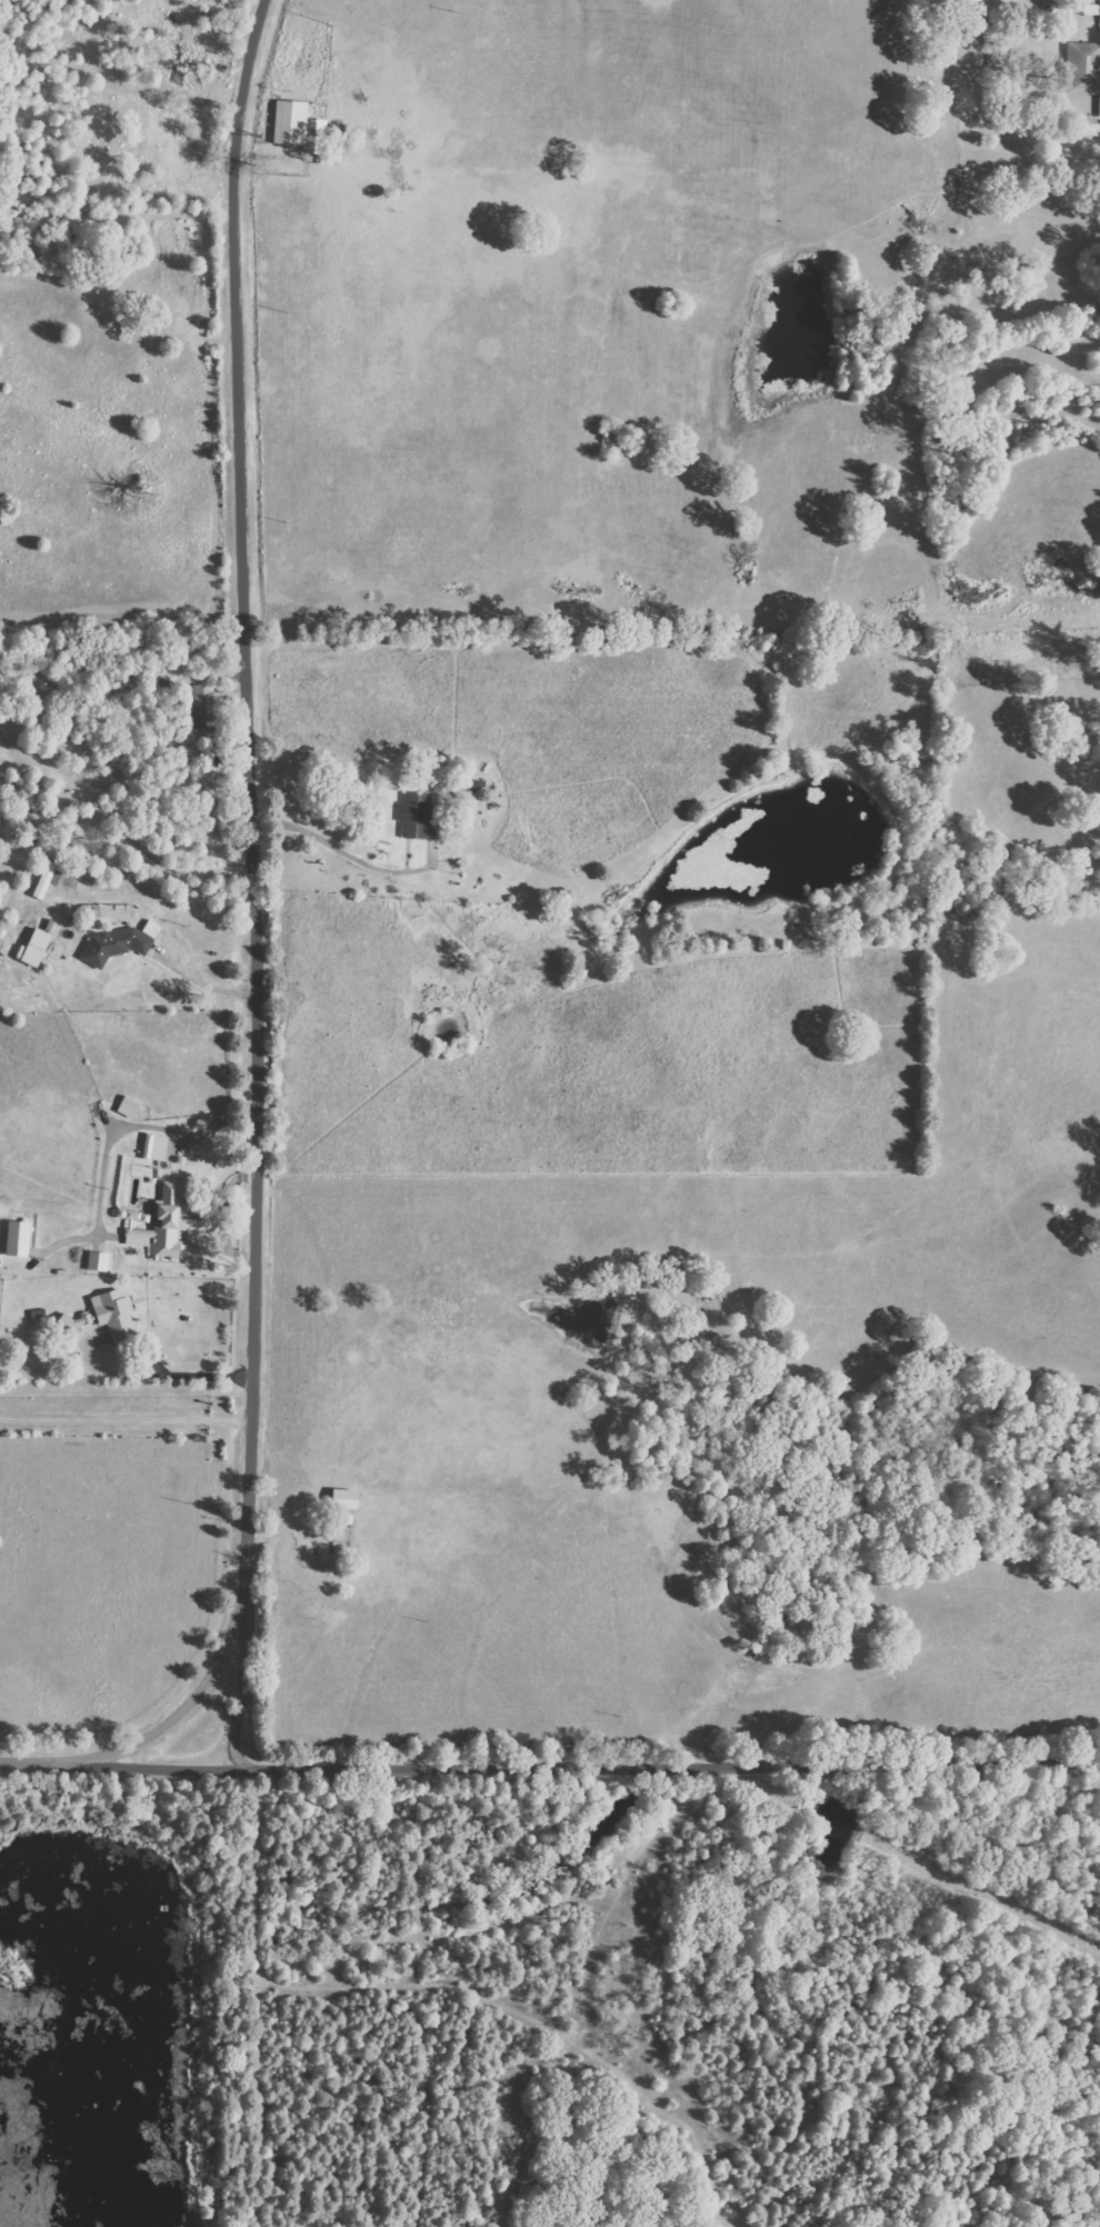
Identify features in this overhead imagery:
building: (1086, 60)
building: (300, 127)
building: (418, 816)
road: (127, 828)
road: (338, 849)
road: (251, 876)
building: (49, 879)
road: (196, 909)
road: (170, 927)
building: (120, 943)
building: (36, 948)
building: (129, 1105)
building: (156, 1146)
building: (138, 1220)
building: (19, 1237)
building: (99, 1260)
building: (117, 1314)
building: (78, 1320)
road: (124, 1414)
road: (191, 1672)
road: (671, 1754)
road: (121, 1758)

